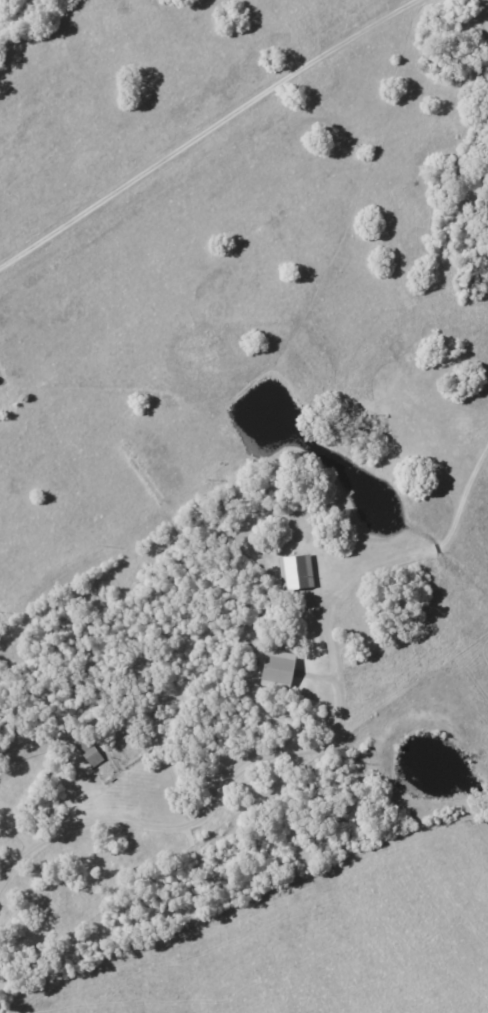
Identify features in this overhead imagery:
building: (297, 572)
building: (278, 670)
building: (92, 755)

